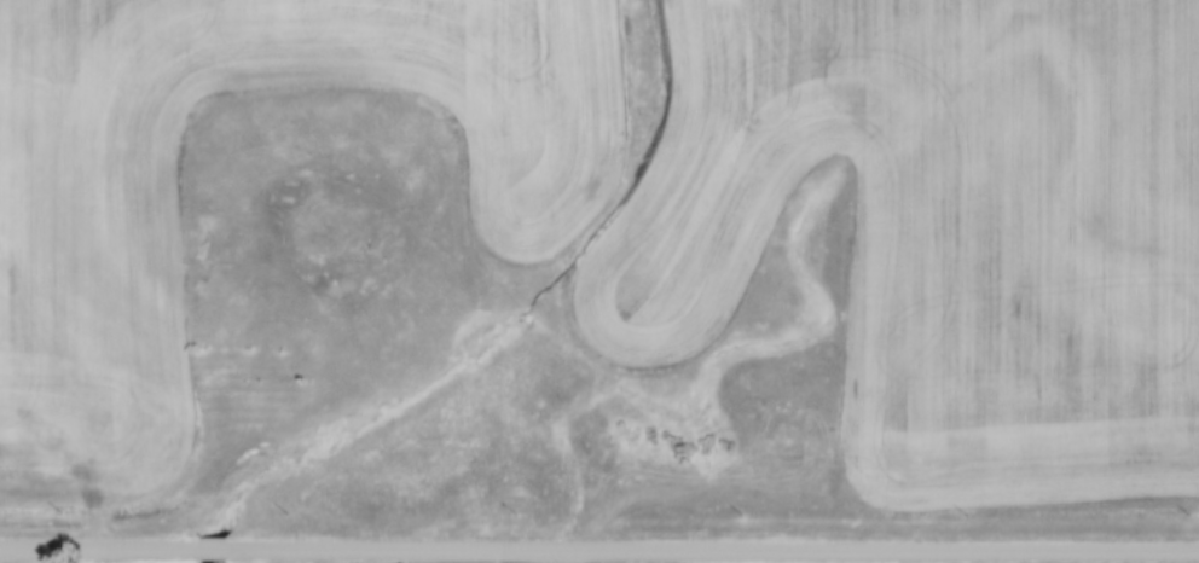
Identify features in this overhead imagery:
road: (94, 546)
road: (202, 546)
road: (706, 550)
road: (575, 556)

